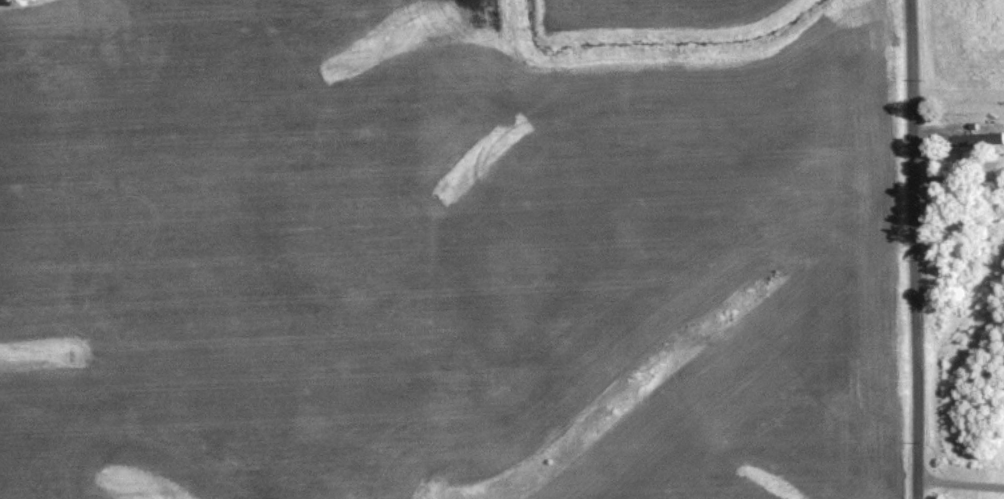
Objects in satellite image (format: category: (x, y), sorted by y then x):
building: (976, 136)
road: (958, 140)
road: (939, 150)
road: (915, 249)
road: (961, 484)

